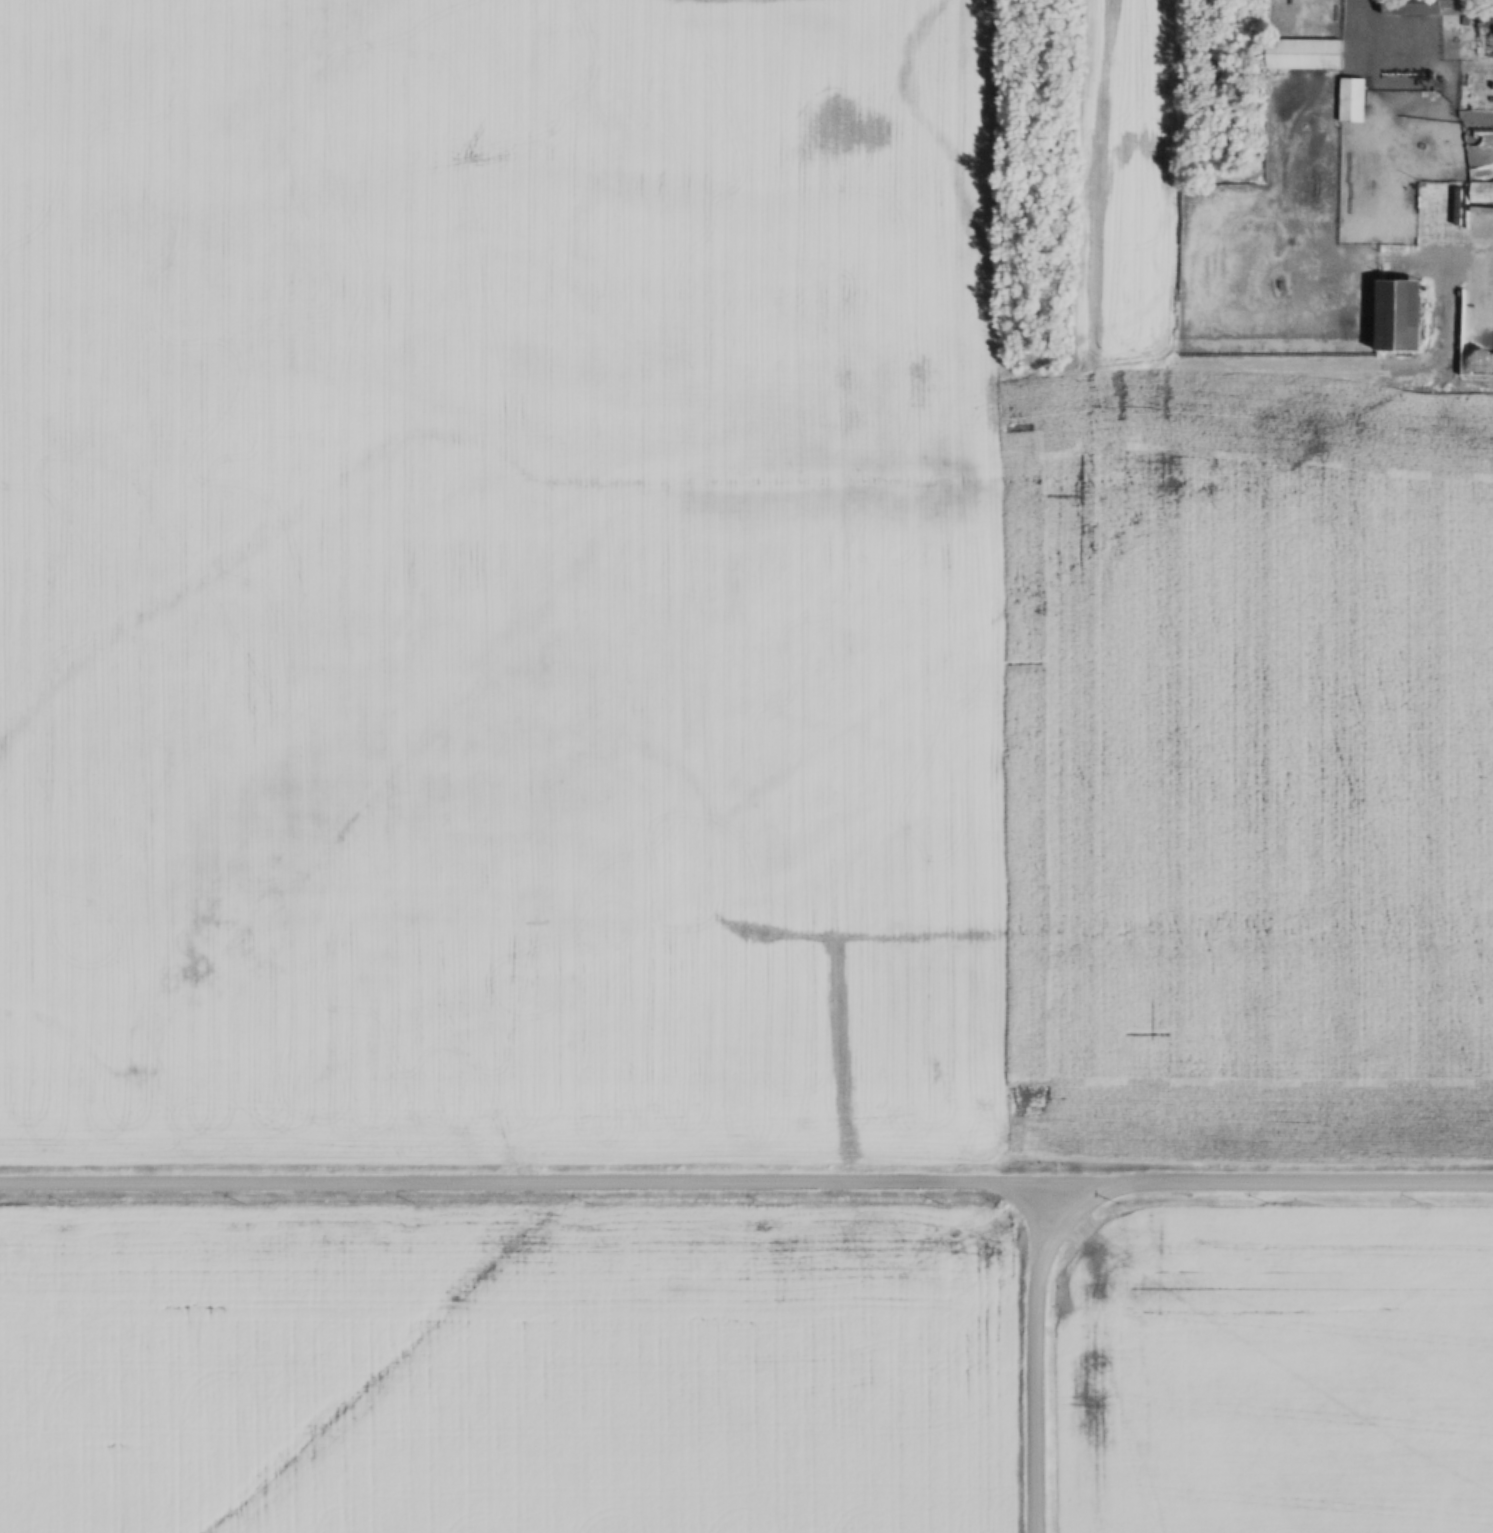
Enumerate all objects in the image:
building: (1413, 6)
building: (1486, 14)
building: (1302, 53)
building: (1349, 107)
building: (1474, 201)
building: (1393, 314)
road: (746, 1181)
road: (1036, 1357)

